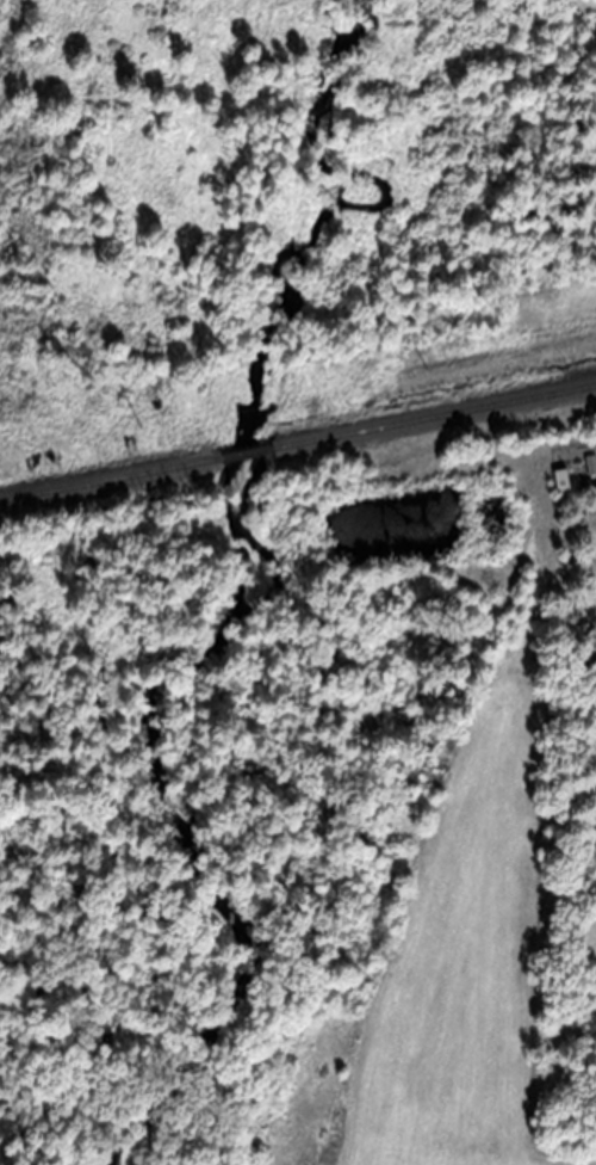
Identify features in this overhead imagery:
railway: (433, 413)
railway: (244, 450)
building: (591, 462)
railway: (110, 475)

